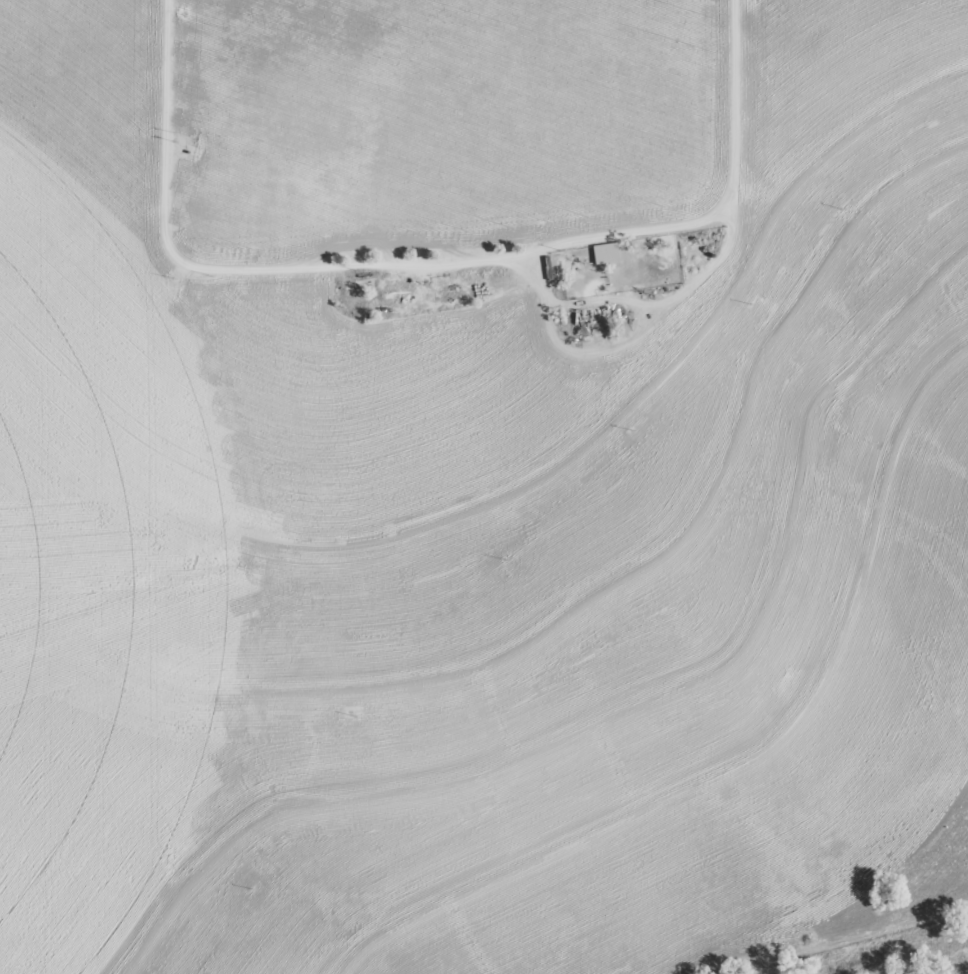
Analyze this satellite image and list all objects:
building: (606, 253)
road: (672, 485)

